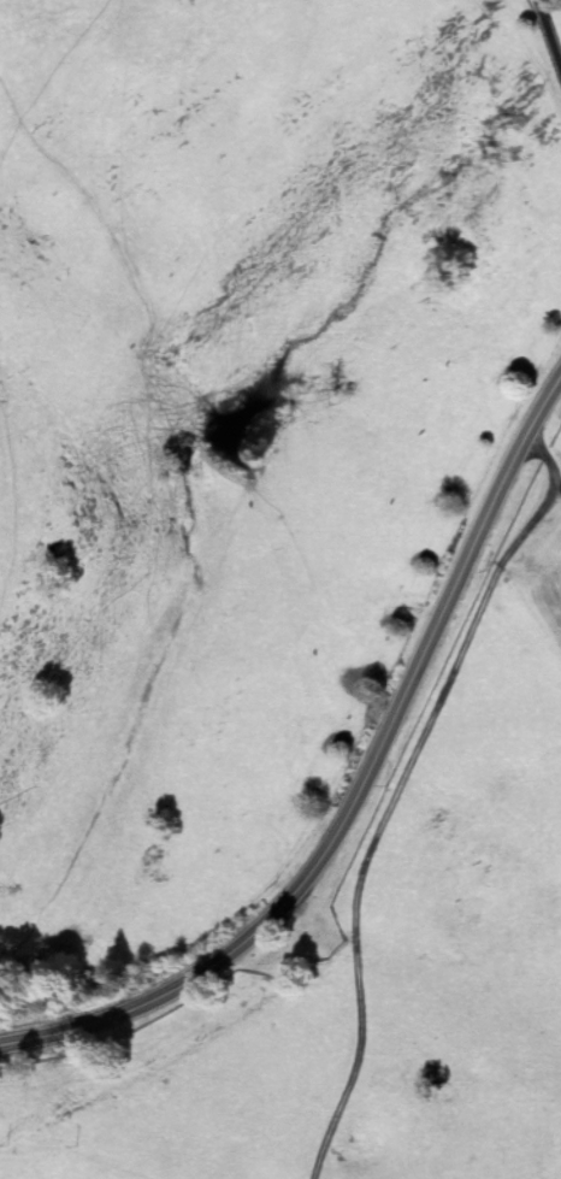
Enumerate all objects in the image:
road: (548, 36)
road: (544, 462)
road: (359, 791)
road: (385, 817)

